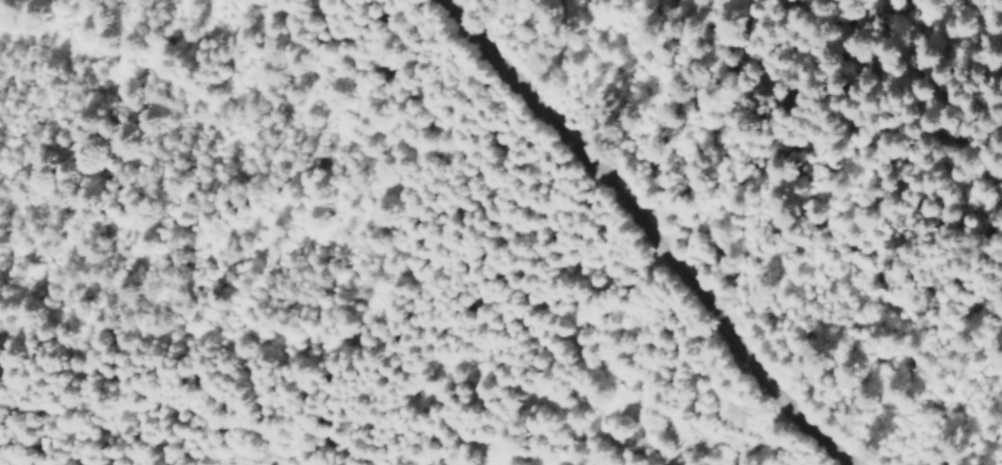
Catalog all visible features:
road: (644, 227)

